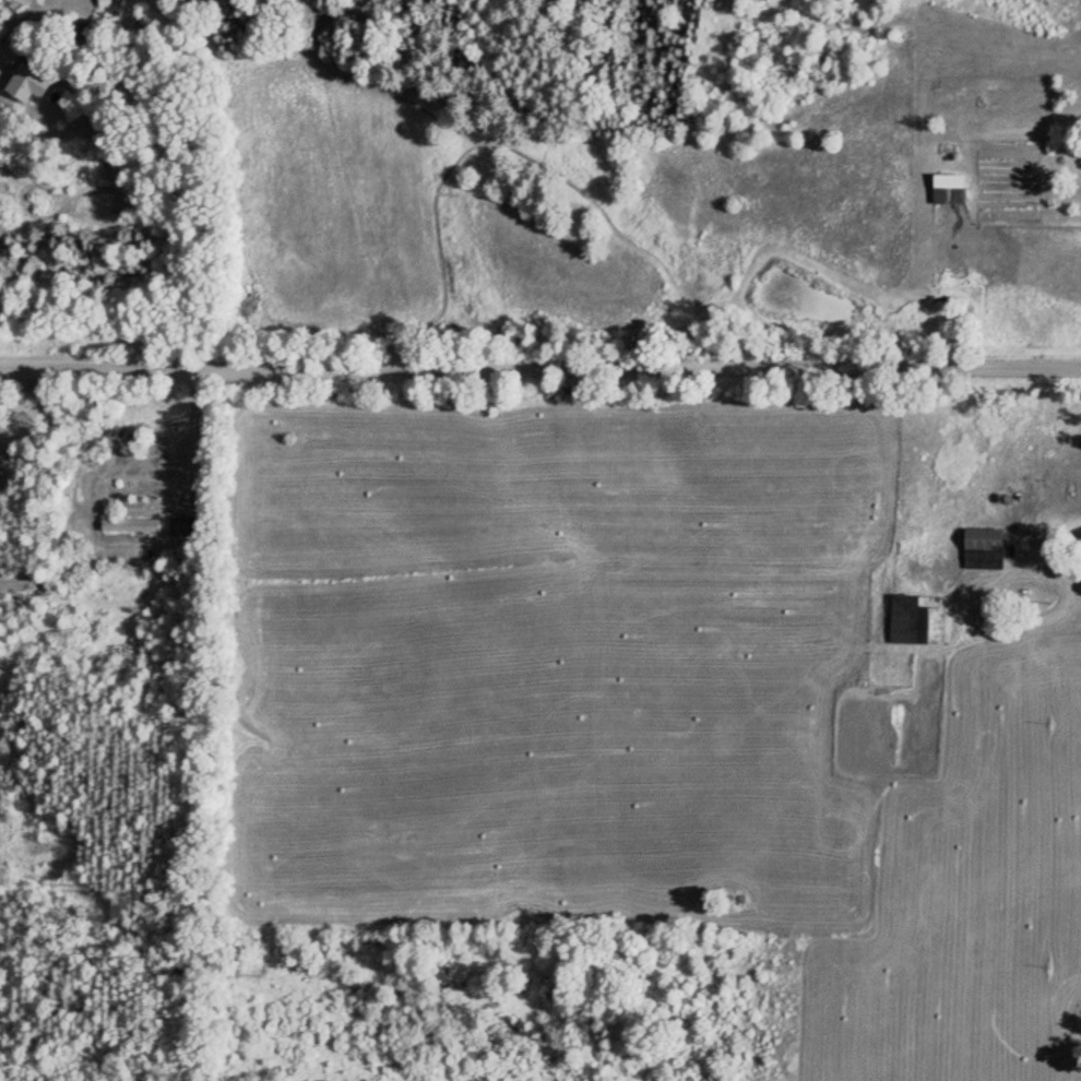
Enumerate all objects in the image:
building: (21, 81)
building: (941, 188)
road: (540, 351)
building: (903, 619)

